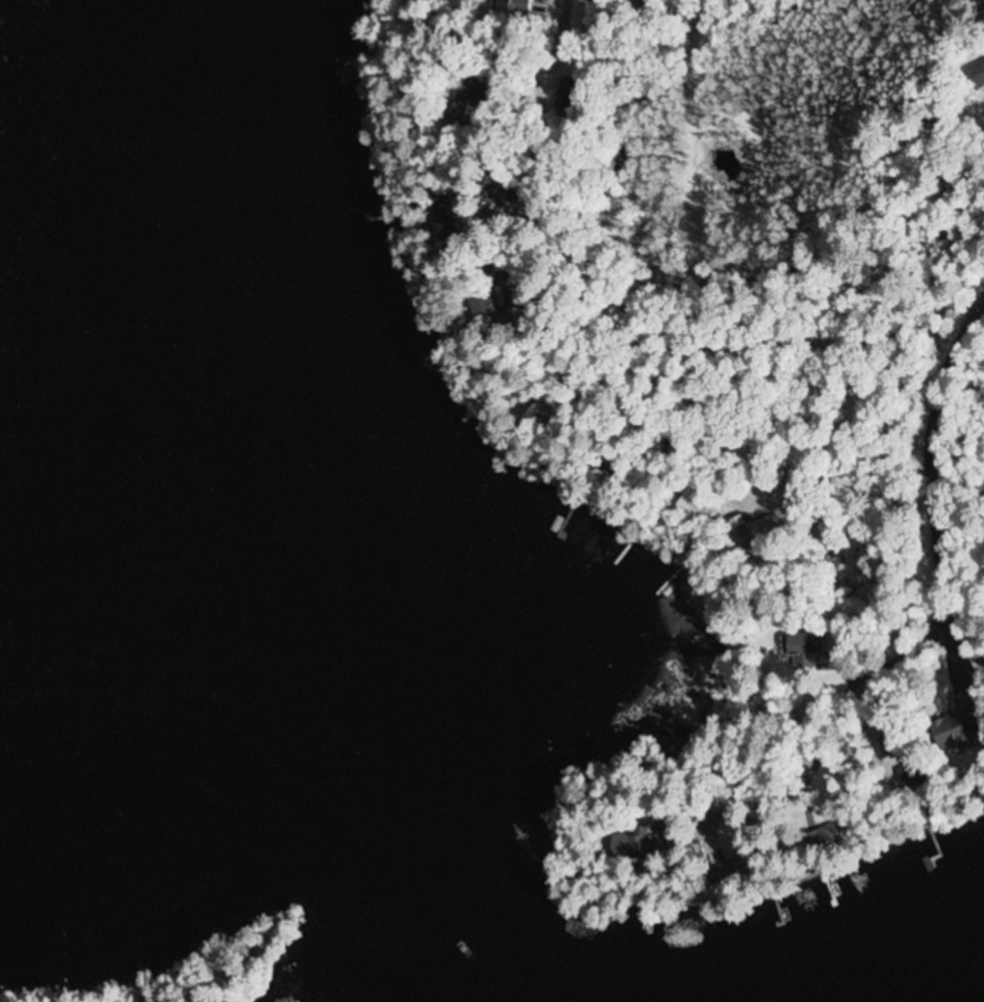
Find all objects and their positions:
building: (506, 2)
building: (580, 16)
building: (975, 75)
road: (931, 463)
building: (738, 530)
building: (807, 644)
building: (822, 666)
building: (955, 728)
building: (638, 846)

